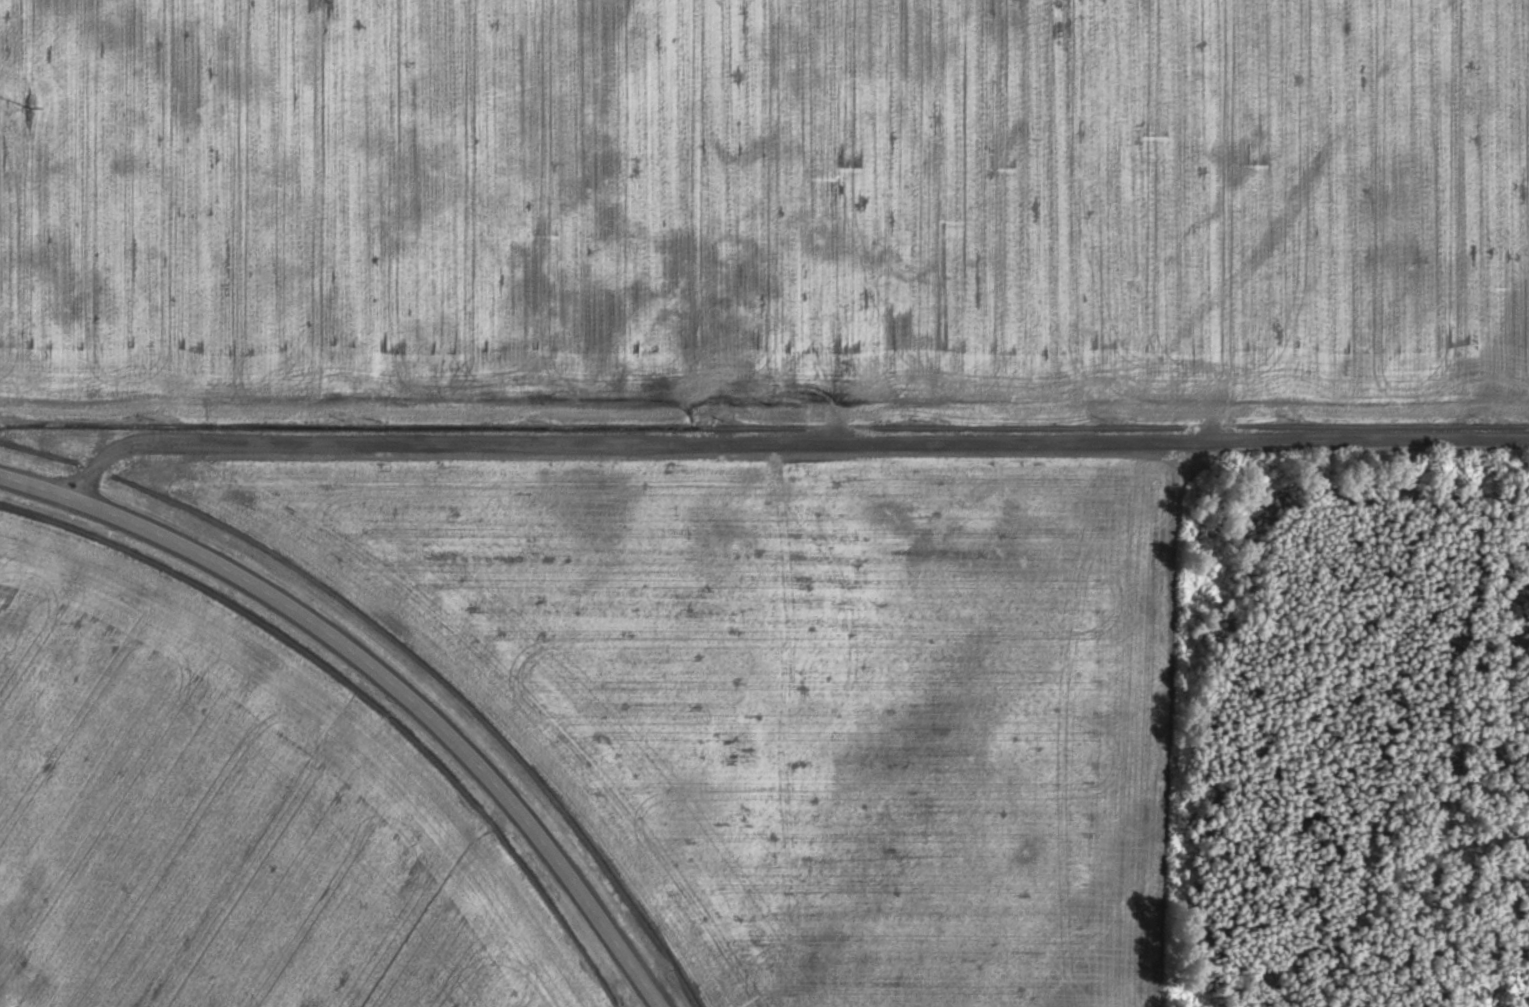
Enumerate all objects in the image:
road: (789, 443)
road: (380, 677)

